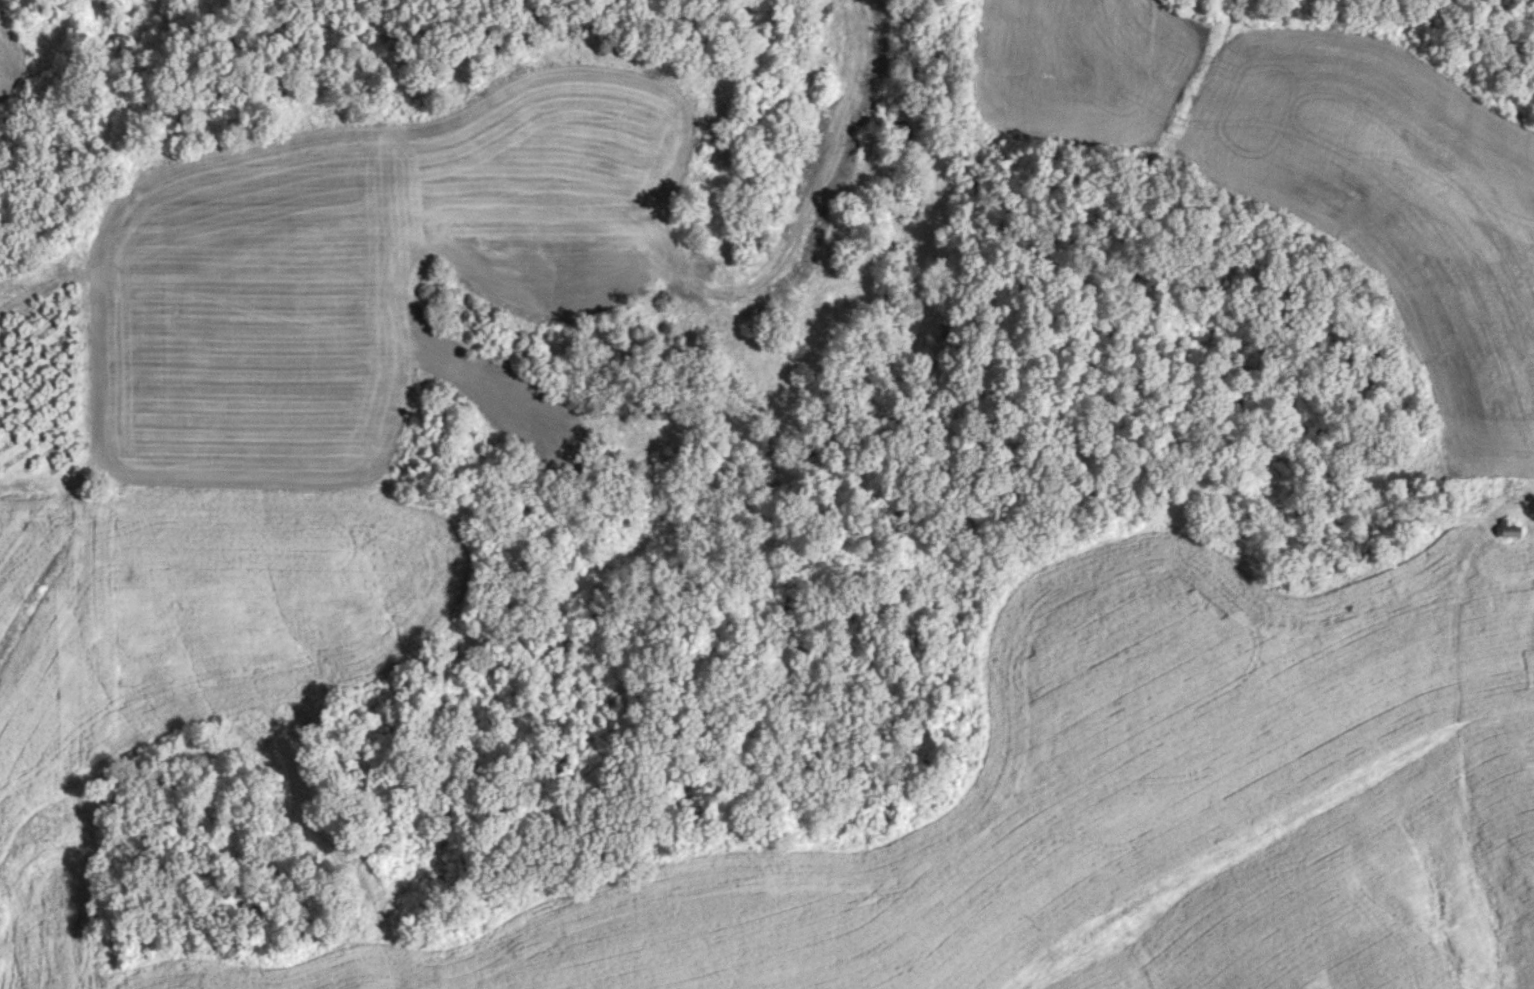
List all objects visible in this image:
building: (1506, 530)
crop: (1102, 808)

